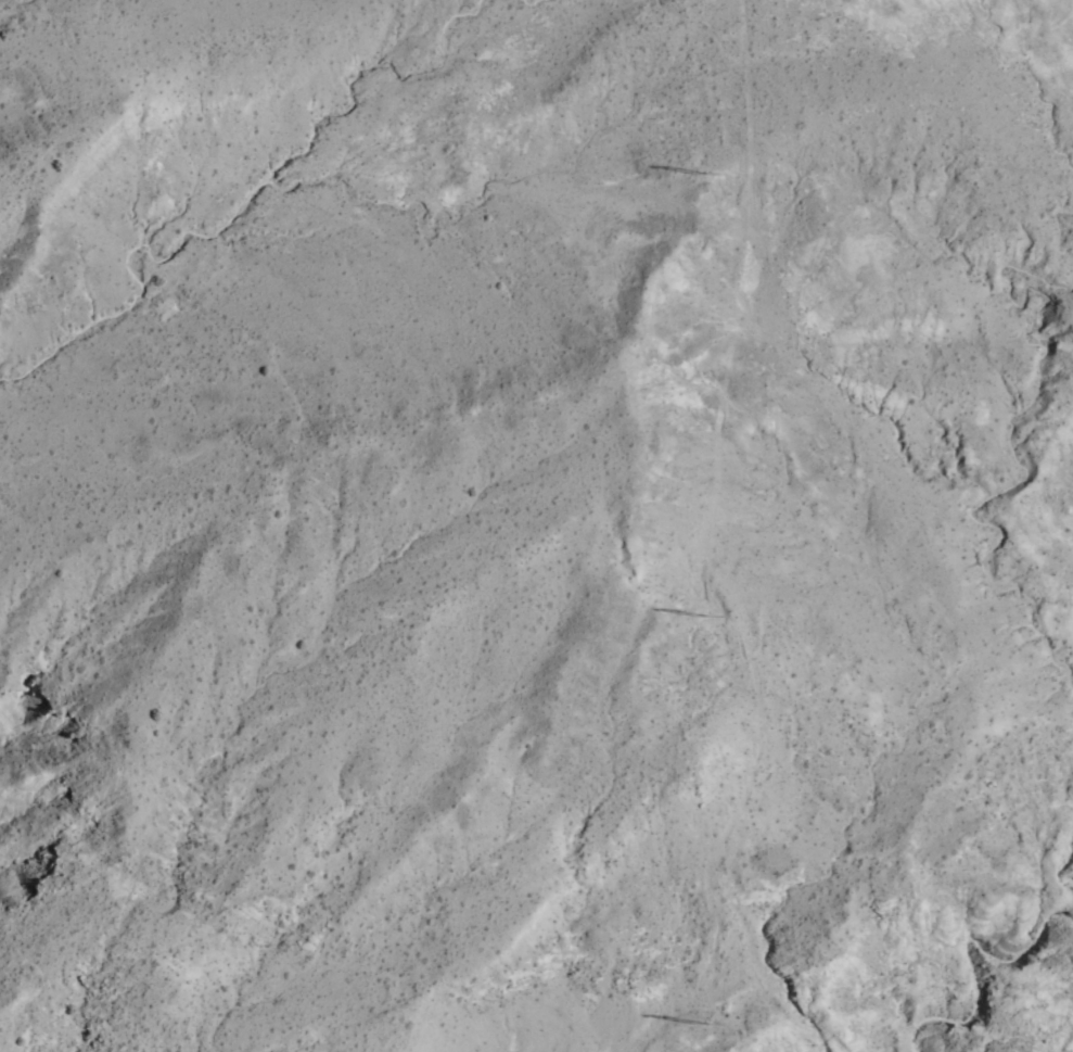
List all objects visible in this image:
power tower: (707, 172)
power tower: (704, 613)
power tower: (705, 1022)

